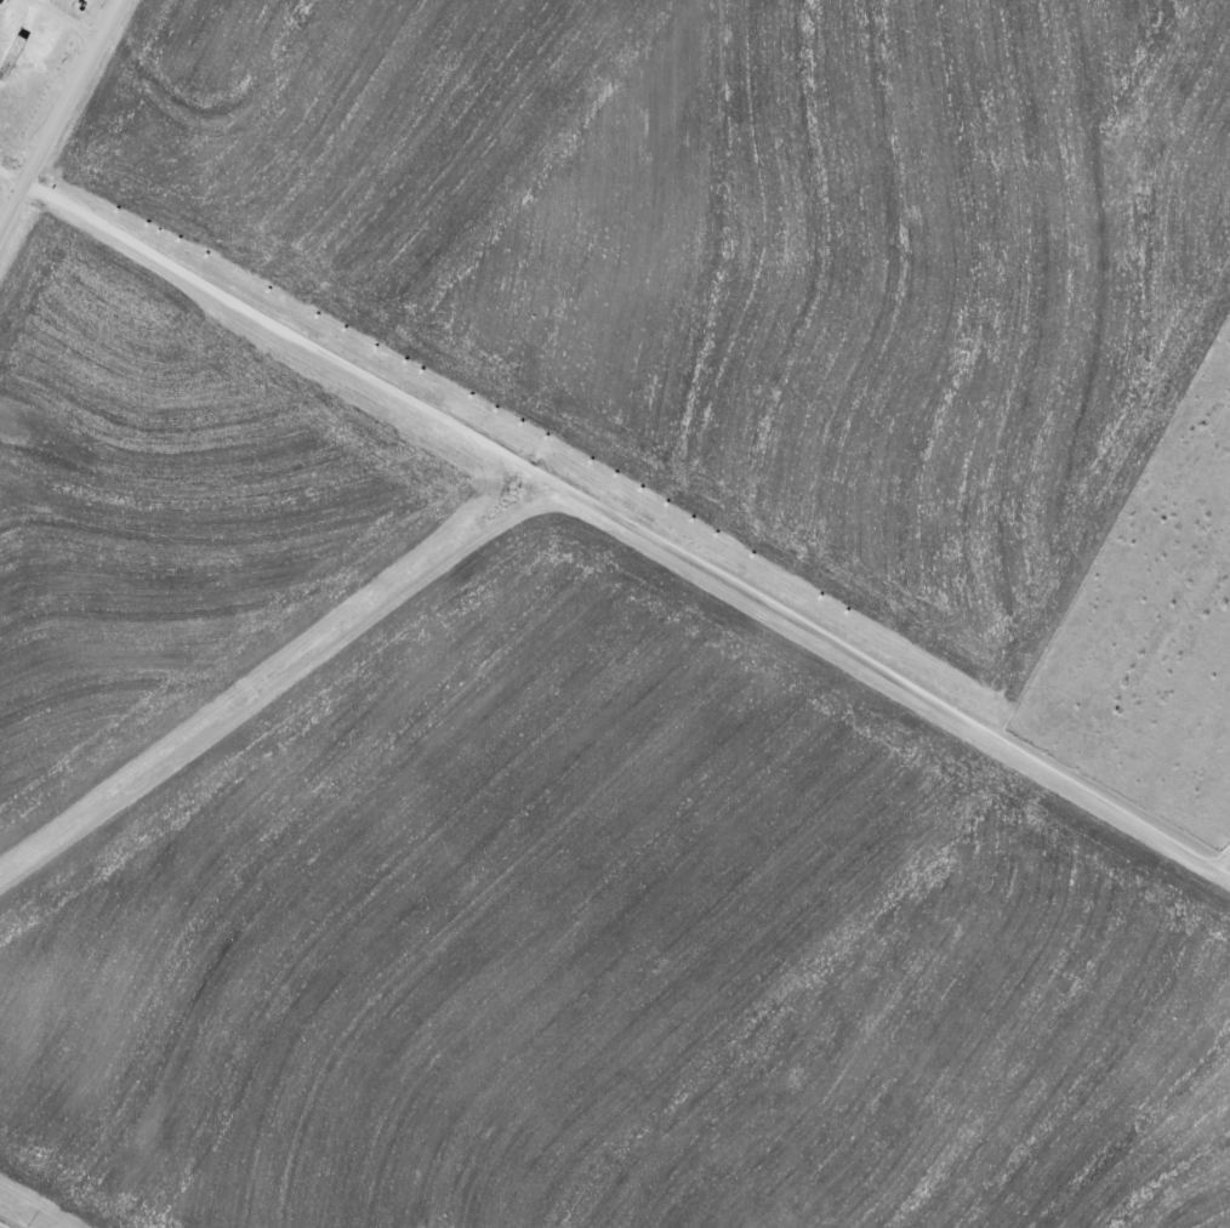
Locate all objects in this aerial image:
road: (52, 25)
road: (62, 118)
road: (13, 175)
road: (632, 523)
road: (1224, 858)

